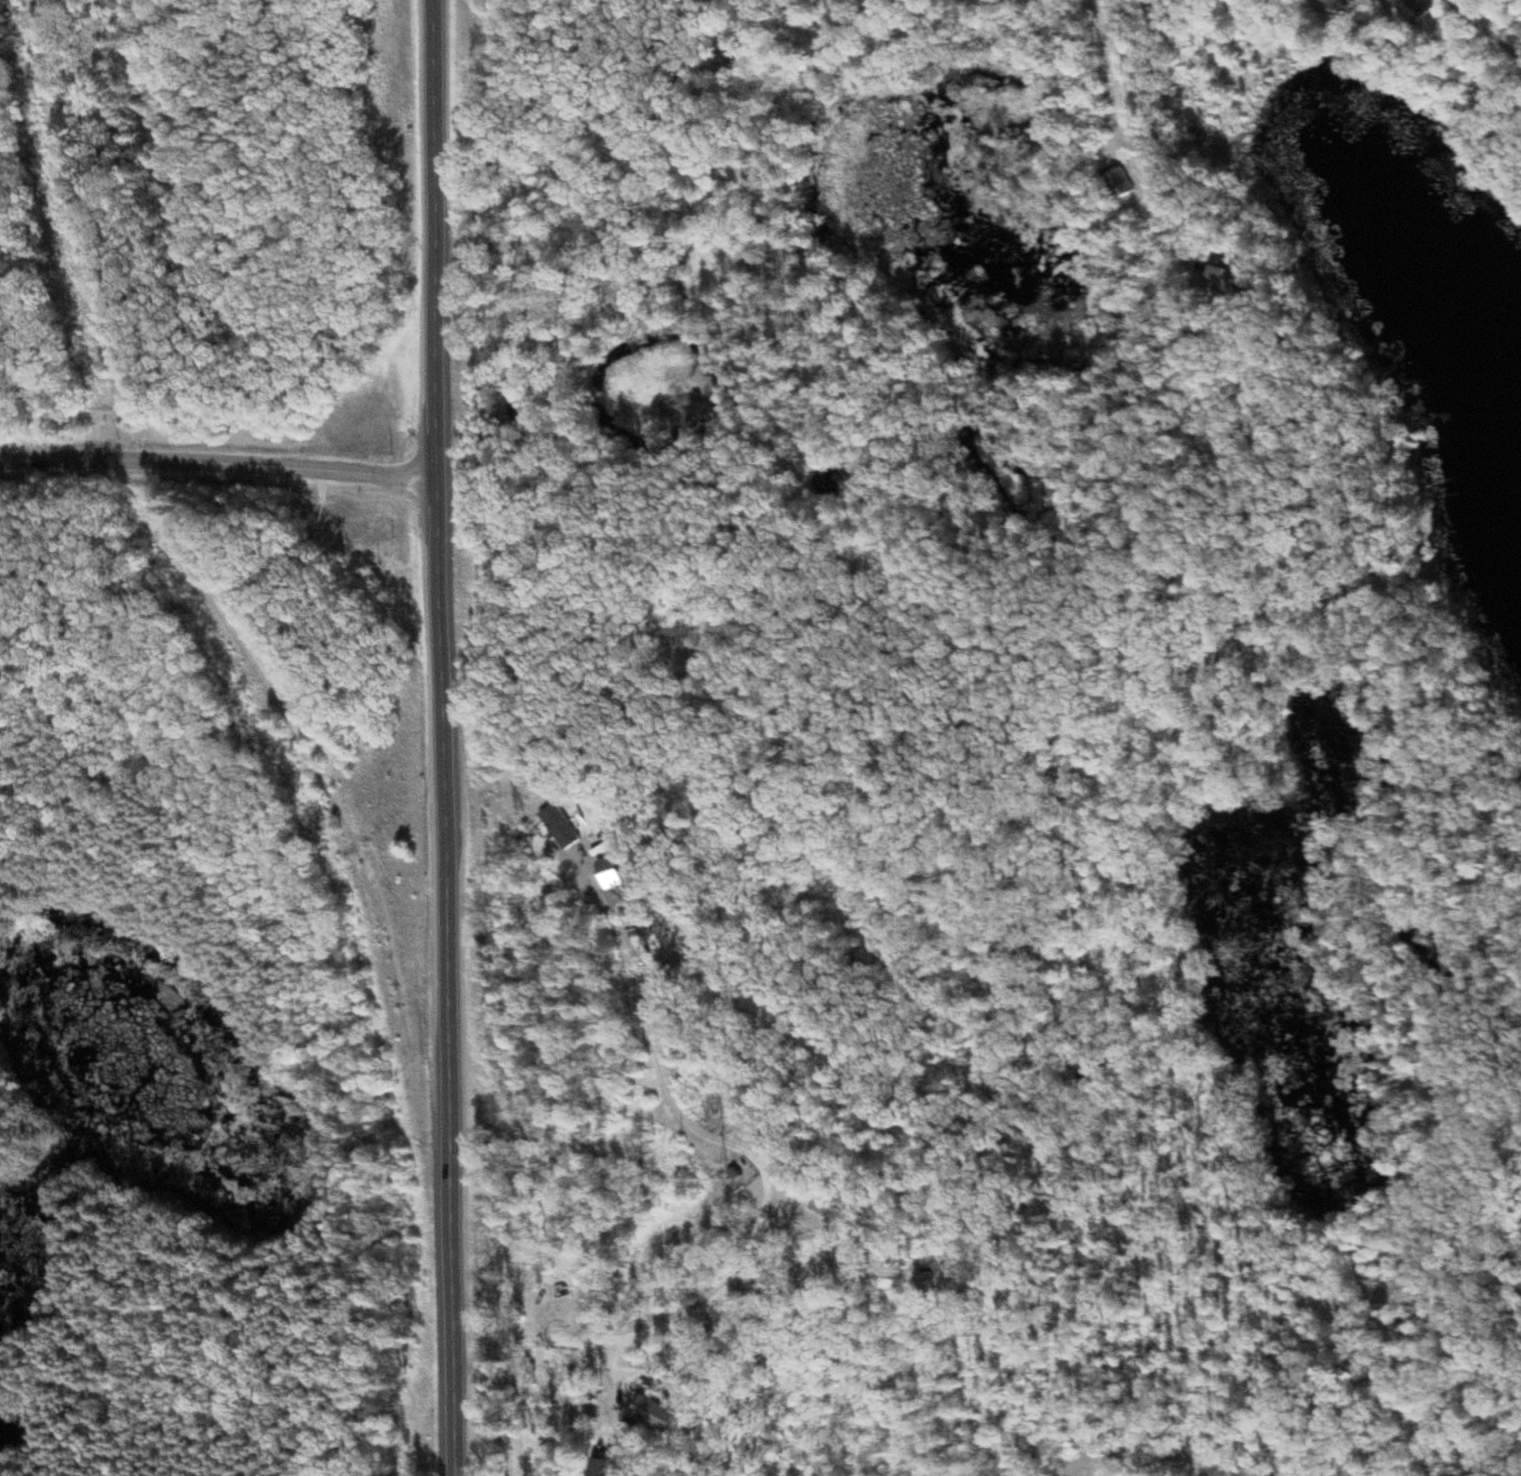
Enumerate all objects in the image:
building: (1333, 4)
building: (1412, 11)
road: (1337, 16)
road: (662, 148)
building: (1120, 185)
building: (1217, 280)
road: (214, 469)
road: (438, 738)
building: (558, 828)
building: (732, 1176)
road: (652, 1317)
building: (648, 1414)
building: (594, 1468)

